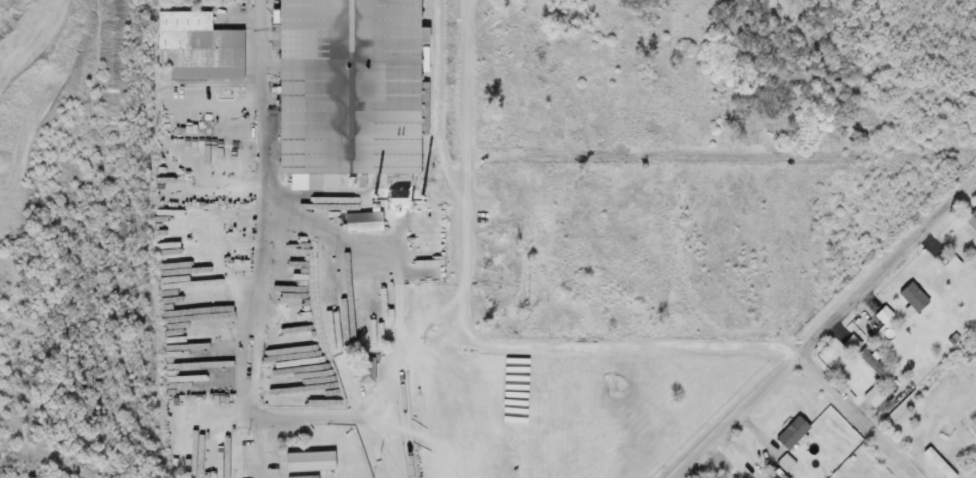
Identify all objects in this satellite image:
building: (195, 42)
building: (344, 92)
road: (441, 97)
road: (723, 155)
building: (971, 220)
road: (463, 252)
road: (258, 280)
road: (824, 325)
road: (603, 340)
building: (364, 371)
building: (872, 397)
road: (858, 414)
building: (973, 429)
building: (307, 462)
building: (712, 476)
building: (299, 477)

